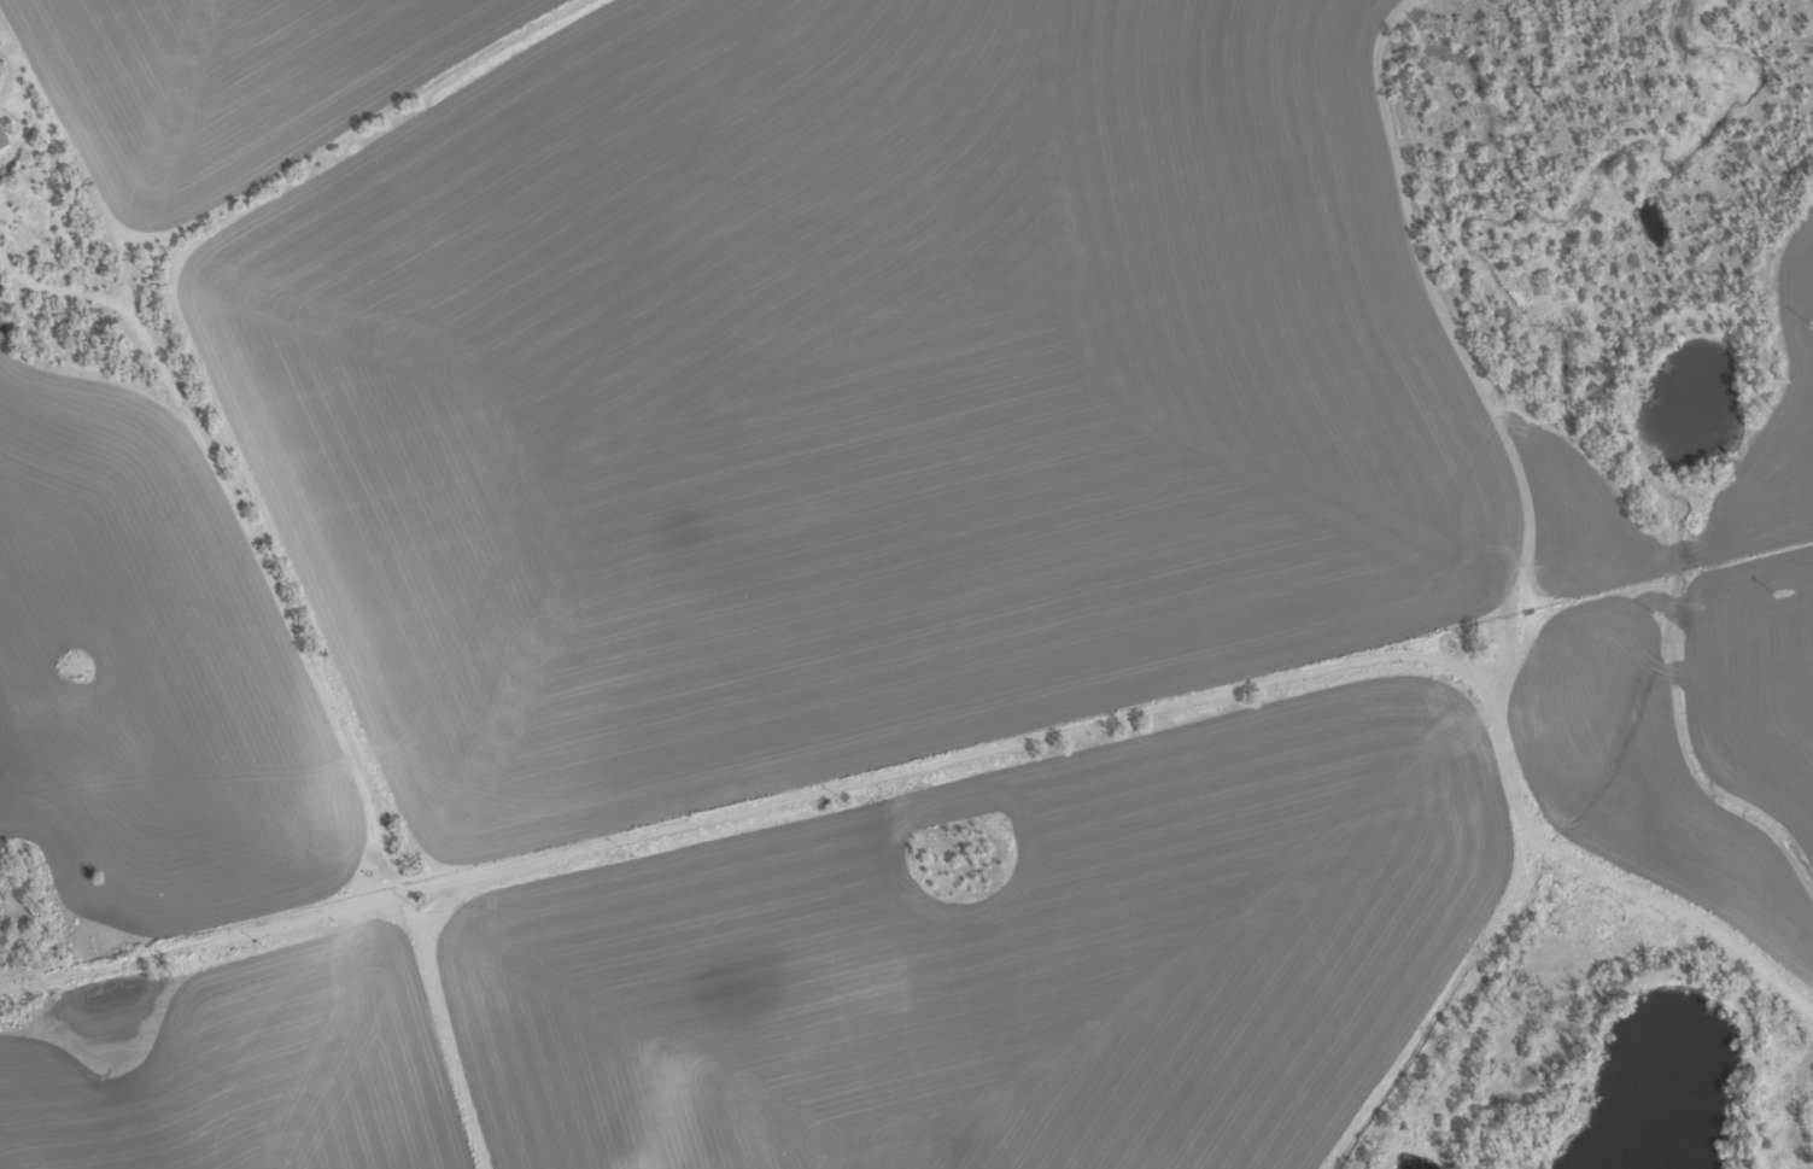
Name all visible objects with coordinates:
road: (246, 531)
road: (1435, 548)
road: (732, 816)

